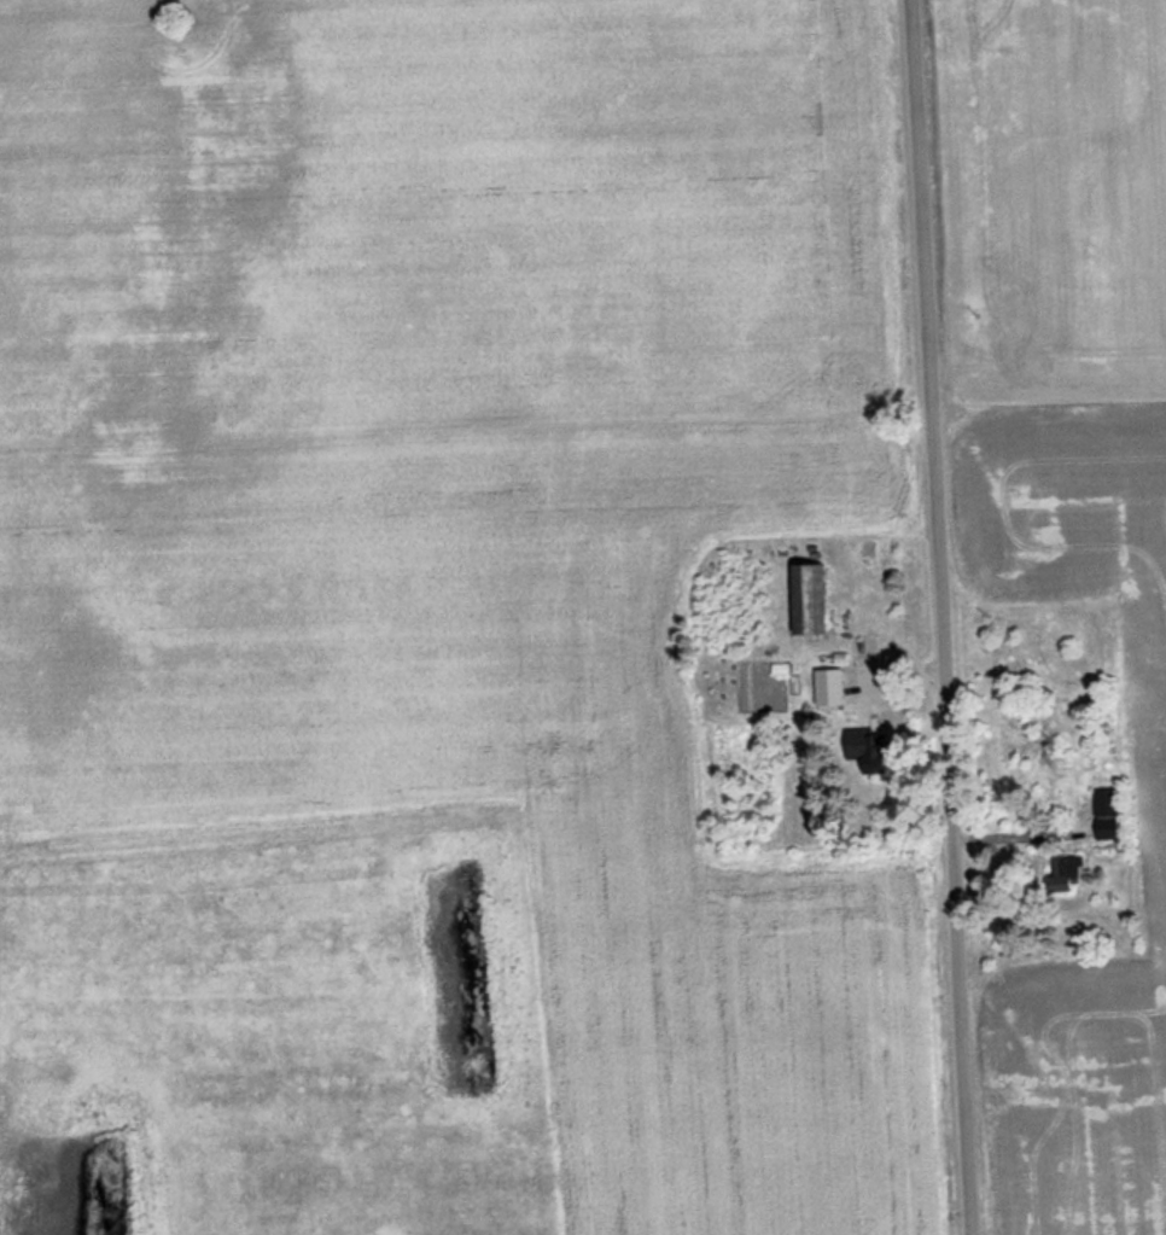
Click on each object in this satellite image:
building: (870, 554)
building: (816, 600)
road: (931, 617)
building: (834, 691)
building: (871, 750)
building: (1109, 803)
building: (1072, 872)

